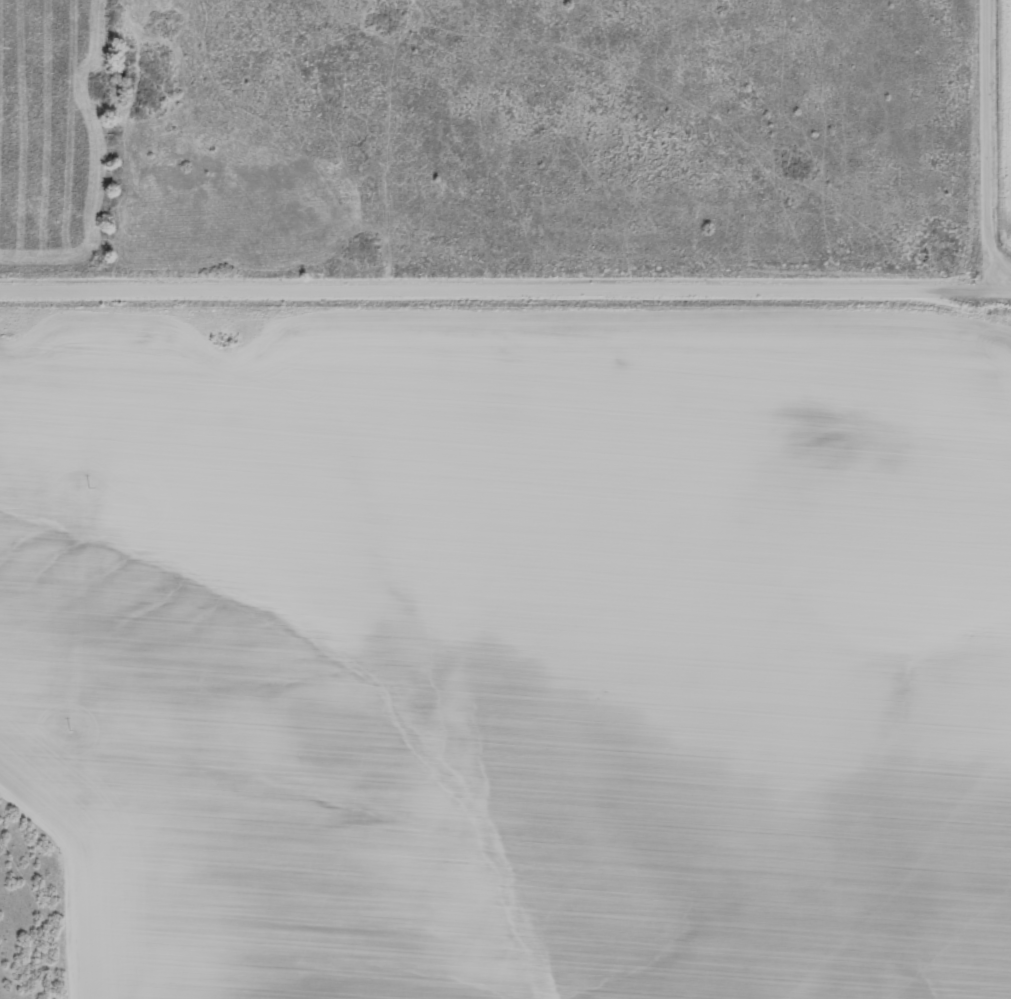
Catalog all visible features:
road: (987, 144)
road: (495, 287)
road: (1001, 287)

